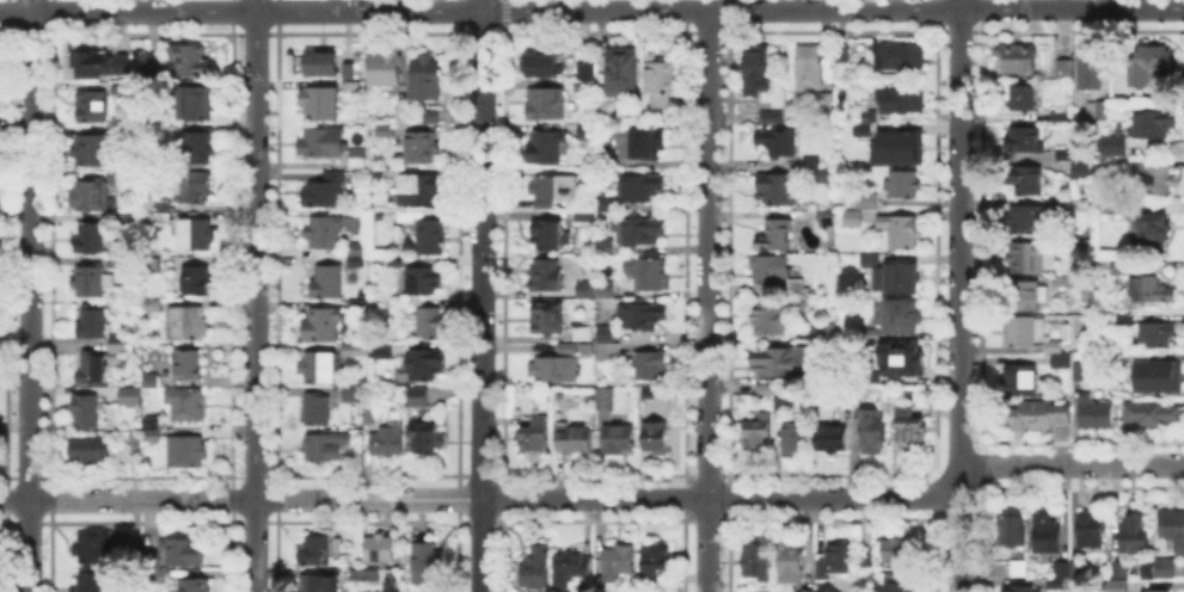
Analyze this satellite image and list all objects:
road: (481, 5)
road: (888, 10)
road: (240, 11)
road: (536, 11)
building: (842, 51)
building: (900, 58)
building: (1019, 60)
building: (189, 61)
building: (99, 64)
building: (1148, 64)
building: (323, 66)
building: (542, 67)
building: (809, 68)
building: (349, 69)
building: (385, 69)
building: (587, 69)
building: (755, 69)
building: (620, 70)
building: (153, 72)
building: (1066, 73)
building: (1090, 73)
building: (429, 74)
building: (661, 85)
building: (583, 86)
building: (122, 91)
building: (351, 91)
building: (824, 99)
building: (1023, 99)
building: (902, 101)
building: (197, 105)
building: (546, 105)
building: (320, 106)
building: (93, 109)
building: (615, 109)
building: (1097, 110)
building: (400, 111)
building: (772, 116)
building: (867, 117)
building: (433, 119)
building: (1153, 125)
building: (122, 130)
building: (867, 131)
building: (584, 132)
building: (387, 134)
building: (1025, 141)
building: (643, 143)
building: (779, 143)
building: (323, 144)
building: (196, 147)
building: (898, 147)
building: (422, 148)
building: (1110, 148)
building: (548, 150)
building: (92, 152)
building: (1065, 154)
building: (811, 160)
building: (605, 162)
building: (358, 164)
building: (1118, 168)
building: (1080, 172)
building: (821, 174)
building: (1027, 180)
building: (1157, 184)
building: (904, 185)
building: (640, 189)
building: (194, 190)
building: (419, 190)
building: (777, 191)
building: (552, 192)
building: (326, 193)
building: (92, 195)
building: (866, 201)
building: (1065, 203)
building: (160, 211)
building: (593, 214)
building: (409, 217)
building: (824, 217)
building: (853, 221)
building: (1027, 221)
building: (125, 222)
building: (1153, 228)
building: (640, 230)
building: (900, 232)
building: (325, 234)
building: (197, 236)
building: (551, 238)
building: (774, 238)
building: (93, 240)
building: (431, 240)
building: (602, 248)
building: (356, 252)
building: (1030, 258)
building: (870, 260)
building: (357, 261)
building: (118, 264)
building: (771, 270)
building: (648, 275)
building: (547, 277)
building: (904, 280)
building: (87, 282)
building: (198, 283)
building: (422, 283)
building: (1062, 283)
building: (329, 284)
building: (798, 285)
building: (582, 286)
building: (1155, 289)
building: (593, 291)
road: (29, 295)
road: (254, 295)
road: (959, 296)
building: (1029, 296)
road: (706, 300)
road: (481, 301)
building: (808, 303)
building: (358, 306)
building: (155, 308)
building: (644, 317)
building: (906, 319)
building: (88, 321)
building: (550, 321)
building: (771, 321)
building: (430, 325)
building: (189, 326)
building: (323, 329)
building: (605, 332)
building: (820, 332)
building: (584, 333)
building: (872, 333)
building: (1024, 333)
building: (1157, 334)
building: (119, 346)
building: (1054, 349)
building: (576, 350)
building: (609, 351)
building: (382, 353)
building: (901, 359)
building: (778, 362)
building: (1062, 363)
building: (1122, 363)
building: (188, 365)
building: (423, 365)
building: (654, 366)
building: (554, 369)
building: (91, 370)
building: (318, 370)
building: (1079, 372)
building: (1161, 377)
building: (871, 378)
building: (1022, 381)
building: (648, 393)
building: (351, 397)
building: (418, 399)
building: (605, 399)
building: (131, 400)
building: (780, 402)
building: (186, 406)
building: (318, 411)
building: (88, 412)
building: (370, 413)
building: (1063, 413)
building: (441, 414)
building: (1151, 414)
building: (1094, 415)
building: (1037, 417)
road: (14, 426)
building: (909, 427)
building: (153, 431)
building: (872, 432)
building: (759, 433)
building: (534, 437)
building: (656, 437)
building: (796, 437)
building: (576, 438)
building: (620, 439)
building: (424, 440)
building: (834, 440)
building: (388, 443)
building: (87, 450)
building: (323, 452)
building: (188, 454)
road: (595, 498)
building: (1172, 530)
building: (1012, 532)
building: (1093, 532)
building: (1135, 534)
building: (1047, 538)
building: (319, 548)
building: (381, 550)
building: (97, 551)
building: (184, 553)
building: (900, 553)
building: (869, 556)
building: (657, 561)
building: (427, 562)
building: (618, 562)
building: (833, 562)
building: (792, 563)
building: (757, 566)
building: (536, 569)
building: (571, 569)
building: (1019, 569)
building: (1121, 569)
building: (1062, 571)
building: (1076, 571)
building: (1165, 571)
building: (162, 578)
building: (367, 579)
building: (93, 584)
building: (896, 584)
building: (1056, 584)
building: (323, 585)
building: (195, 586)
building: (1117, 586)
building: (1019, 590)
building: (1153, 590)
building: (538, 591)
building: (767, 591)
building: (805, 591)

